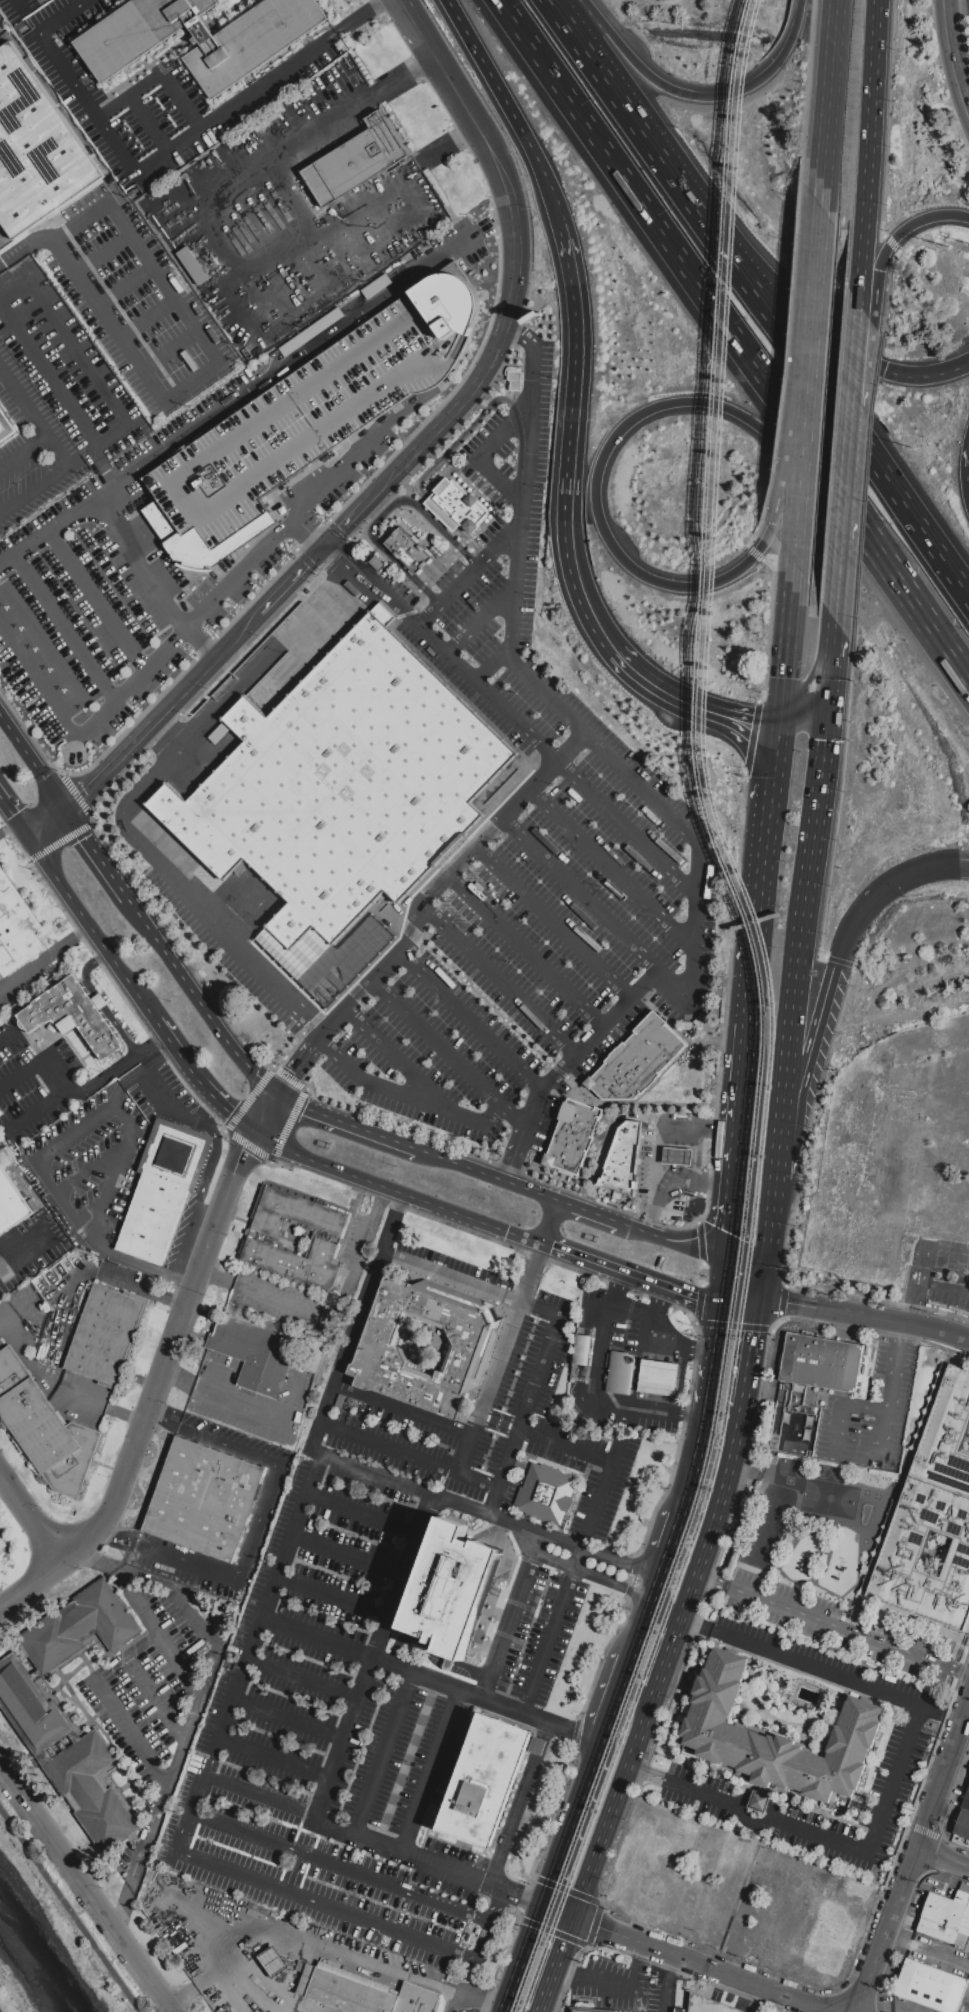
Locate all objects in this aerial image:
parking lot: (968, 1)
road: (16, 6)
road: (65, 16)
road: (411, 17)
building: (199, 37)
road: (478, 52)
road: (952, 56)
road: (159, 75)
road: (605, 78)
road: (261, 86)
road: (700, 96)
road: (91, 103)
road: (832, 106)
road: (152, 123)
road: (299, 141)
building: (36, 147)
road: (866, 153)
road: (537, 154)
building: (355, 161)
road: (405, 174)
road: (52, 221)
road: (898, 239)
power tower: (949, 248)
road: (307, 260)
building: (193, 264)
road: (768, 267)
road: (516, 277)
road: (17, 293)
road: (716, 309)
road: (855, 352)
road: (78, 354)
road: (956, 368)
road: (956, 371)
road: (52, 373)
road: (815, 374)
road: (913, 377)
road: (190, 379)
building: (514, 381)
road: (256, 385)
road: (810, 397)
road: (727, 409)
road: (35, 415)
road: (525, 415)
building: (306, 421)
road: (578, 428)
building: (6, 429)
road: (98, 450)
road: (351, 452)
road: (25, 454)
road: (790, 455)
road: (480, 457)
road: (434, 468)
parking lot: (109, 487)
road: (34, 490)
building: (459, 504)
road: (843, 508)
road: (385, 512)
building: (440, 513)
road: (348, 522)
road: (309, 532)
road: (519, 539)
traffic signals: (324, 548)
building: (408, 552)
road: (139, 567)
road: (239, 574)
road: (292, 580)
road: (718, 582)
road: (98, 603)
road: (425, 621)
road: (482, 621)
road: (67, 630)
road: (786, 648)
road: (948, 650)
road: (268, 663)
road: (493, 666)
road: (206, 668)
road: (642, 674)
road: (823, 676)
road: (489, 695)
road: (728, 712)
road: (86, 733)
road: (33, 762)
road: (111, 768)
road: (759, 770)
building: (343, 790)
road: (770, 799)
road: (1, 804)
traffic signals: (67, 810)
road: (13, 818)
road: (47, 824)
road: (8, 828)
road: (628, 829)
traffic signals: (27, 838)
road: (96, 853)
parking lot: (514, 862)
road: (945, 867)
road: (614, 870)
road: (808, 879)
road: (888, 885)
road: (583, 894)
road: (421, 906)
road: (757, 920)
road: (555, 921)
building: (16, 928)
road: (90, 929)
road: (526, 951)
road: (44, 959)
road: (255, 963)
road: (87, 971)
road: (498, 981)
road: (685, 985)
road: (828, 998)
road: (197, 999)
road: (99, 1002)
road: (751, 1011)
building: (74, 1016)
railway: (766, 1017)
railway: (775, 1017)
road: (473, 1020)
road: (156, 1024)
road: (119, 1032)
road: (6, 1037)
road: (967, 1037)
road: (450, 1052)
road: (397, 1060)
road: (34, 1063)
building: (634, 1063)
road: (907, 1078)
road: (200, 1086)
road: (745, 1091)
road: (83, 1093)
traffic signals: (279, 1093)
road: (304, 1108)
road: (927, 1110)
road: (171, 1115)
road: (622, 1116)
road: (794, 1116)
road: (700, 1128)
road: (364, 1131)
traffic signals: (254, 1134)
building: (572, 1136)
road: (408, 1147)
road: (943, 1154)
building: (677, 1156)
building: (622, 1157)
road: (786, 1159)
parking lot: (939, 1162)
road: (489, 1176)
road: (59, 1180)
road: (673, 1181)
road: (953, 1185)
building: (163, 1188)
road: (737, 1190)
road: (400, 1195)
building: (11, 1204)
road: (592, 1214)
road: (551, 1224)
road: (39, 1227)
building: (326, 1238)
road: (774, 1239)
road: (701, 1254)
road: (596, 1266)
traffic signals: (733, 1266)
road: (8, 1271)
road: (101, 1274)
road: (454, 1275)
road: (966, 1278)
road: (944, 1288)
road: (730, 1289)
road: (684, 1297)
traffic signals: (764, 1301)
road: (746, 1308)
road: (635, 1311)
traffic signals: (727, 1313)
road: (867, 1318)
road: (336, 1321)
road: (9, 1323)
building: (107, 1335)
building: (469, 1335)
road: (673, 1336)
building: (584, 1351)
building: (253, 1353)
road: (721, 1354)
road: (754, 1354)
building: (823, 1362)
road: (165, 1372)
building: (622, 1374)
building: (659, 1379)
gas station: (659, 1379)
parking lot: (527, 1390)
road: (230, 1392)
road: (888, 1392)
road: (599, 1393)
road: (532, 1395)
road: (839, 1404)
road: (108, 1408)
parking lot: (873, 1411)
road: (426, 1417)
building: (45, 1428)
road: (737, 1446)
road: (567, 1447)
road: (463, 1453)
road: (413, 1454)
road: (701, 1457)
road: (402, 1487)
building: (545, 1493)
road: (602, 1494)
park: (830, 1496)
building: (204, 1499)
building: (930, 1516)
road: (425, 1518)
road: (32, 1520)
road: (254, 1523)
road: (715, 1532)
building: (2, 1544)
road: (346, 1555)
road: (598, 1556)
road: (669, 1556)
road: (588, 1571)
building: (451, 1587)
road: (332, 1592)
road: (651, 1593)
road: (692, 1600)
road: (143, 1606)
road: (670, 1608)
road: (645, 1625)
road: (834, 1625)
road: (696, 1626)
parking lot: (840, 1627)
road: (552, 1630)
road: (495, 1650)
road: (369, 1653)
road: (672, 1656)
building: (448, 1663)
road: (303, 1677)
parking lot: (363, 1688)
road: (619, 1698)
road: (156, 1699)
road: (356, 1708)
building: (36, 1715)
road: (288, 1718)
road: (192, 1726)
parking lot: (912, 1728)
road: (220, 1730)
road: (132, 1734)
building: (776, 1737)
road: (386, 1755)
road: (274, 1760)
road: (429, 1771)
road: (638, 1772)
road: (525, 1777)
road: (944, 1777)
building: (486, 1781)
road: (890, 1783)
building: (758, 1801)
building: (966, 1802)
road: (617, 1806)
road: (574, 1824)
building: (963, 1825)
road: (944, 1857)
road: (339, 1868)
road: (85, 1888)
building: (947, 1909)
road: (70, 1910)
road: (86, 1911)
road: (560, 1914)
road: (887, 1929)
building: (938, 1931)
road: (303, 1937)
building: (967, 1948)
road: (927, 1950)
road: (525, 1960)
building: (273, 1961)
road: (559, 1966)
road: (703, 1966)
road: (615, 1983)
road: (671, 1984)
building: (931, 1986)
building: (349, 1993)
road: (476, 1994)
building: (417, 2000)
building: (709, 2005)
road: (0, 2011)
building: (579, 2011)

